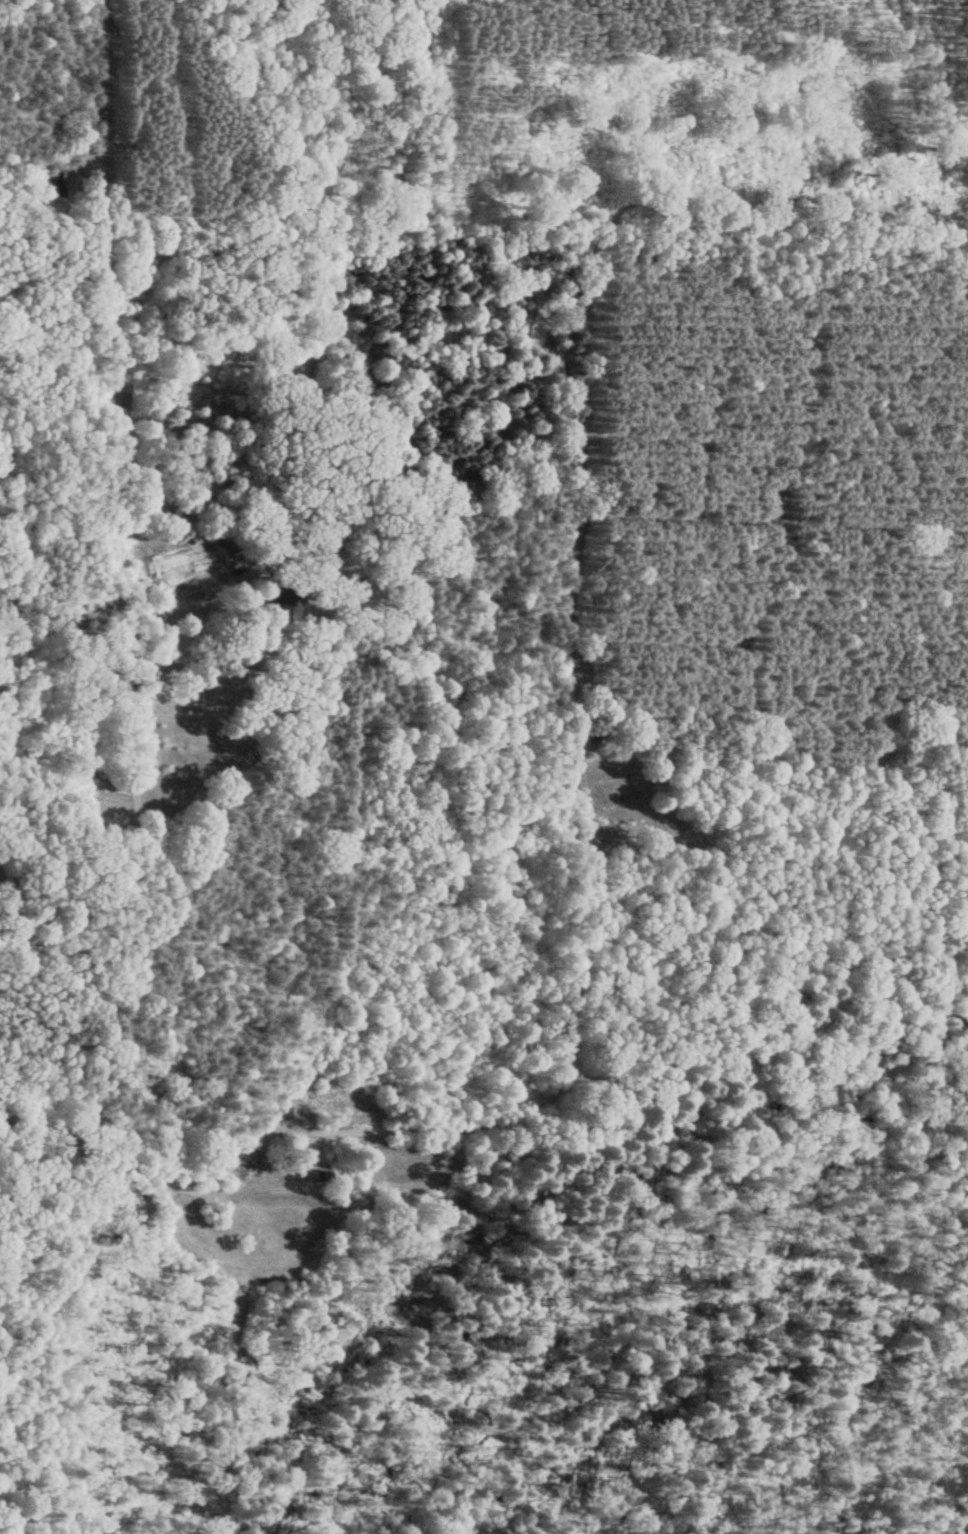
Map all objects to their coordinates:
building: (227, 552)
road: (171, 554)
building: (322, 1172)
road: (22, 1283)

